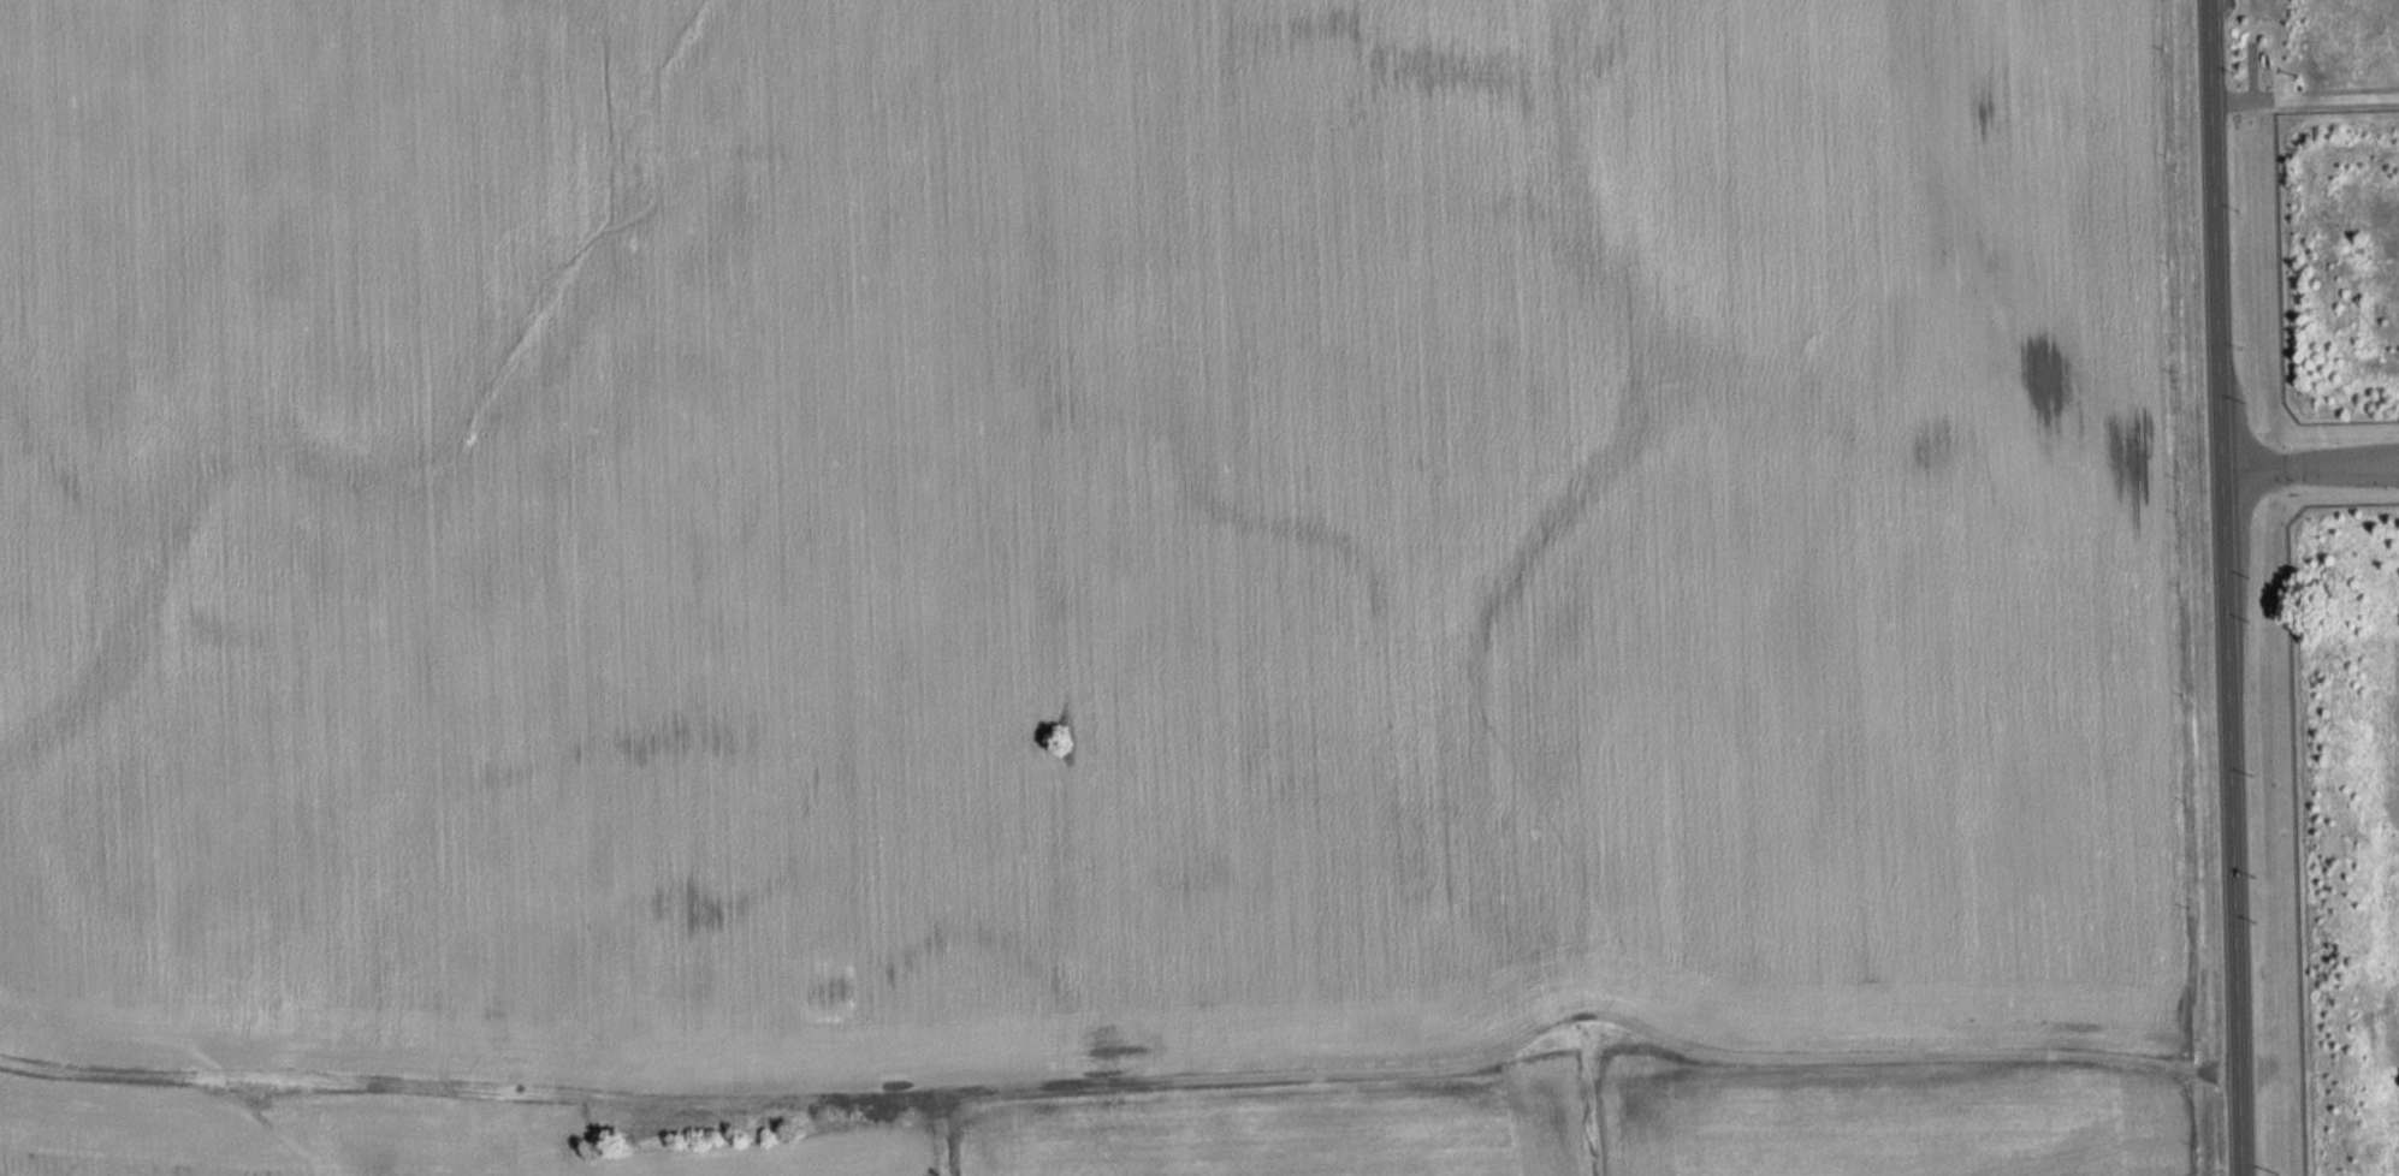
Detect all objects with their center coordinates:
road: (2258, 73)
road: (2305, 101)
road: (2216, 240)
road: (2310, 456)
road: (2310, 474)
road: (2231, 828)

